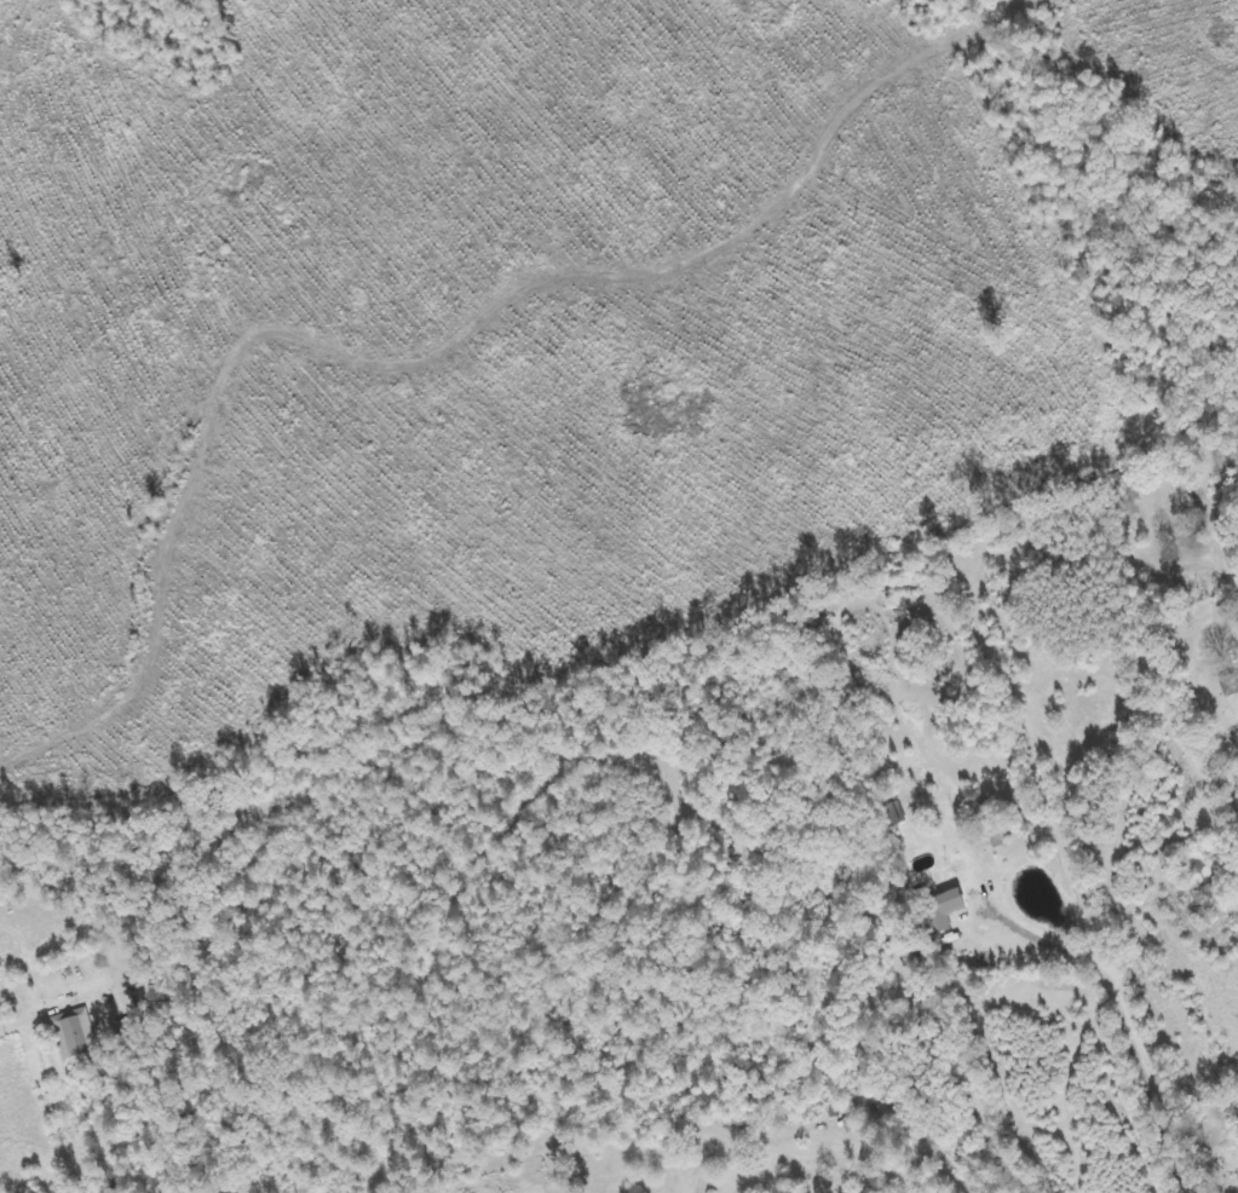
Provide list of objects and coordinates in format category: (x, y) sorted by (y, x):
building: (1230, 685)
building: (894, 813)
building: (942, 910)
building: (76, 1038)
building: (1237, 1172)

